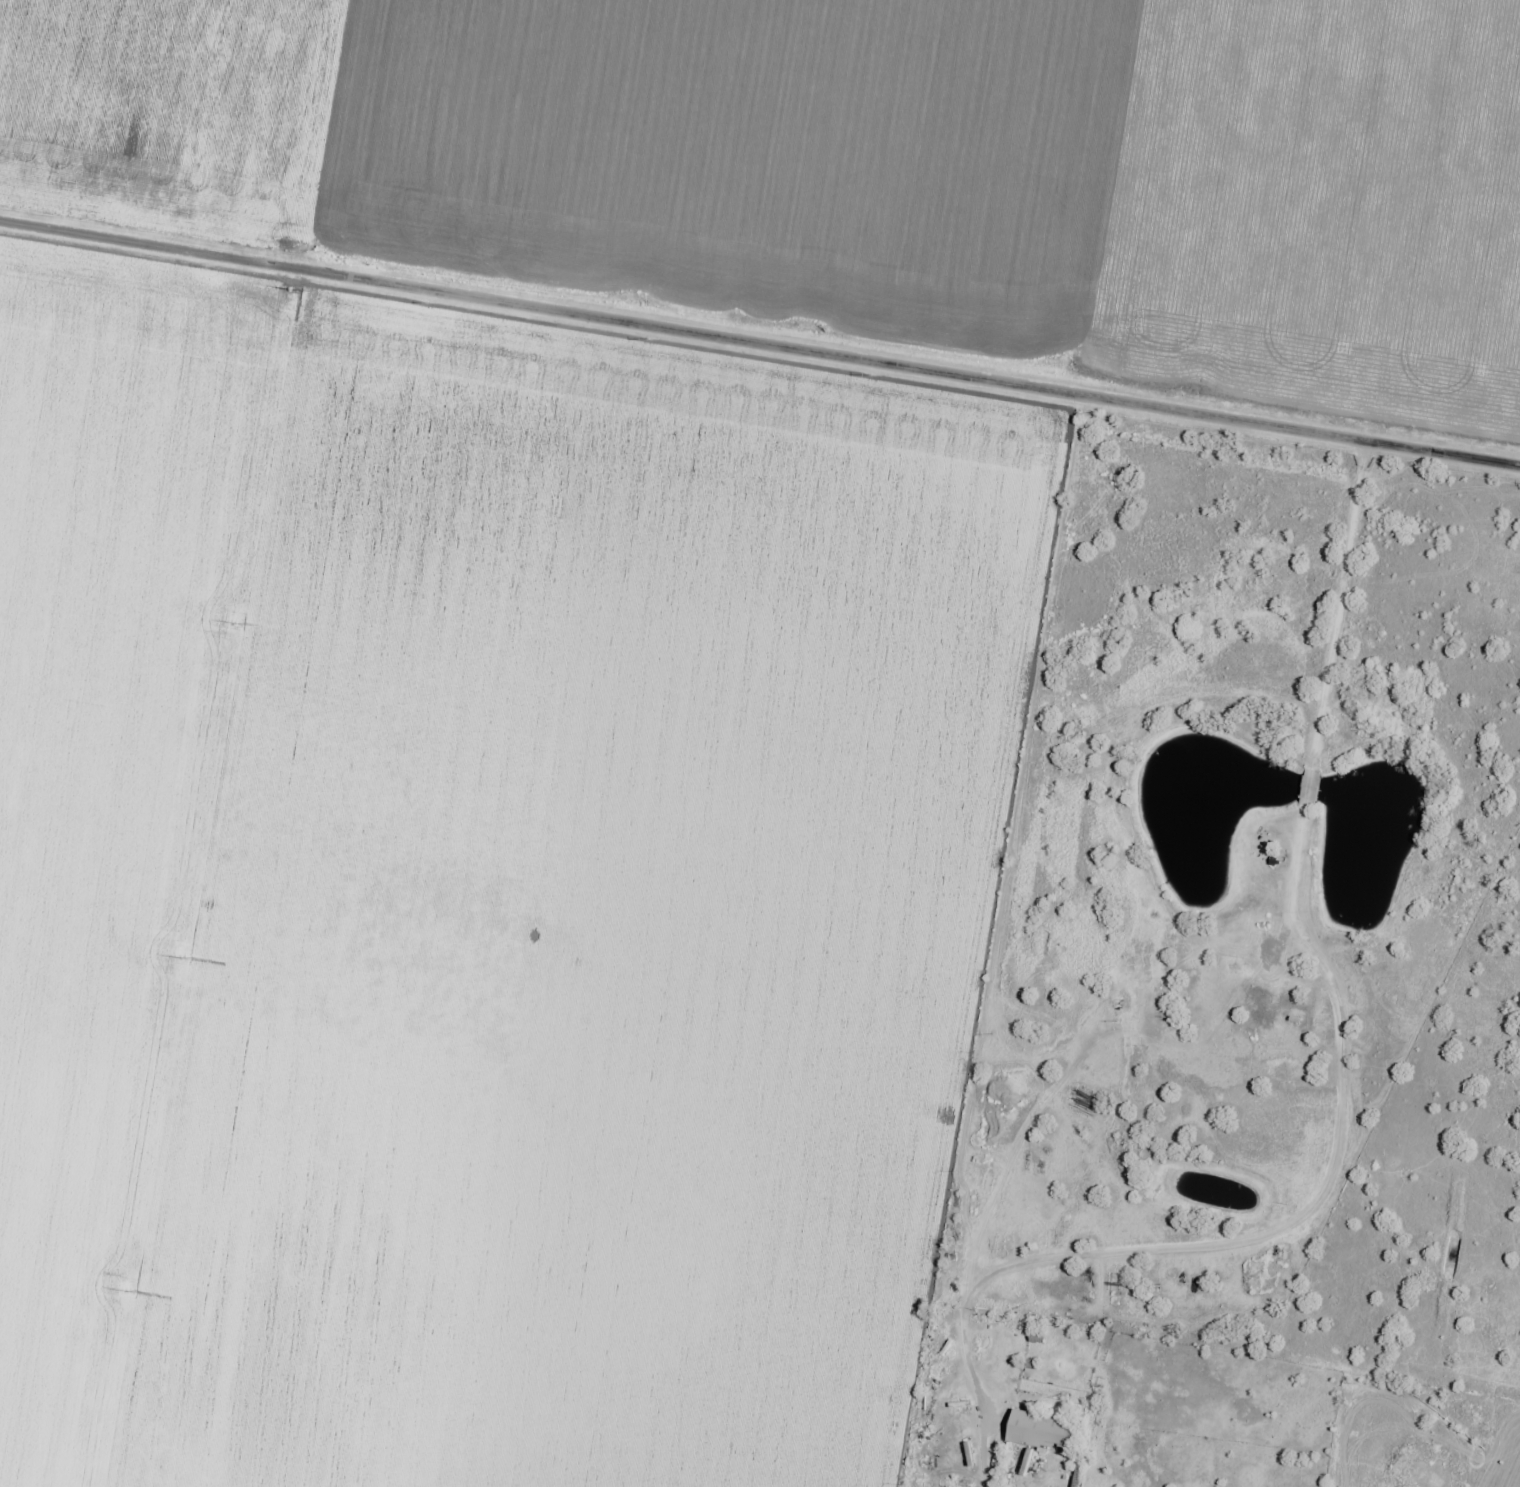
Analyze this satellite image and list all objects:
power tower: (292, 292)
road: (760, 343)
power tower: (238, 625)
power tower: (183, 958)
power tower: (129, 1292)
building: (1043, 1431)

